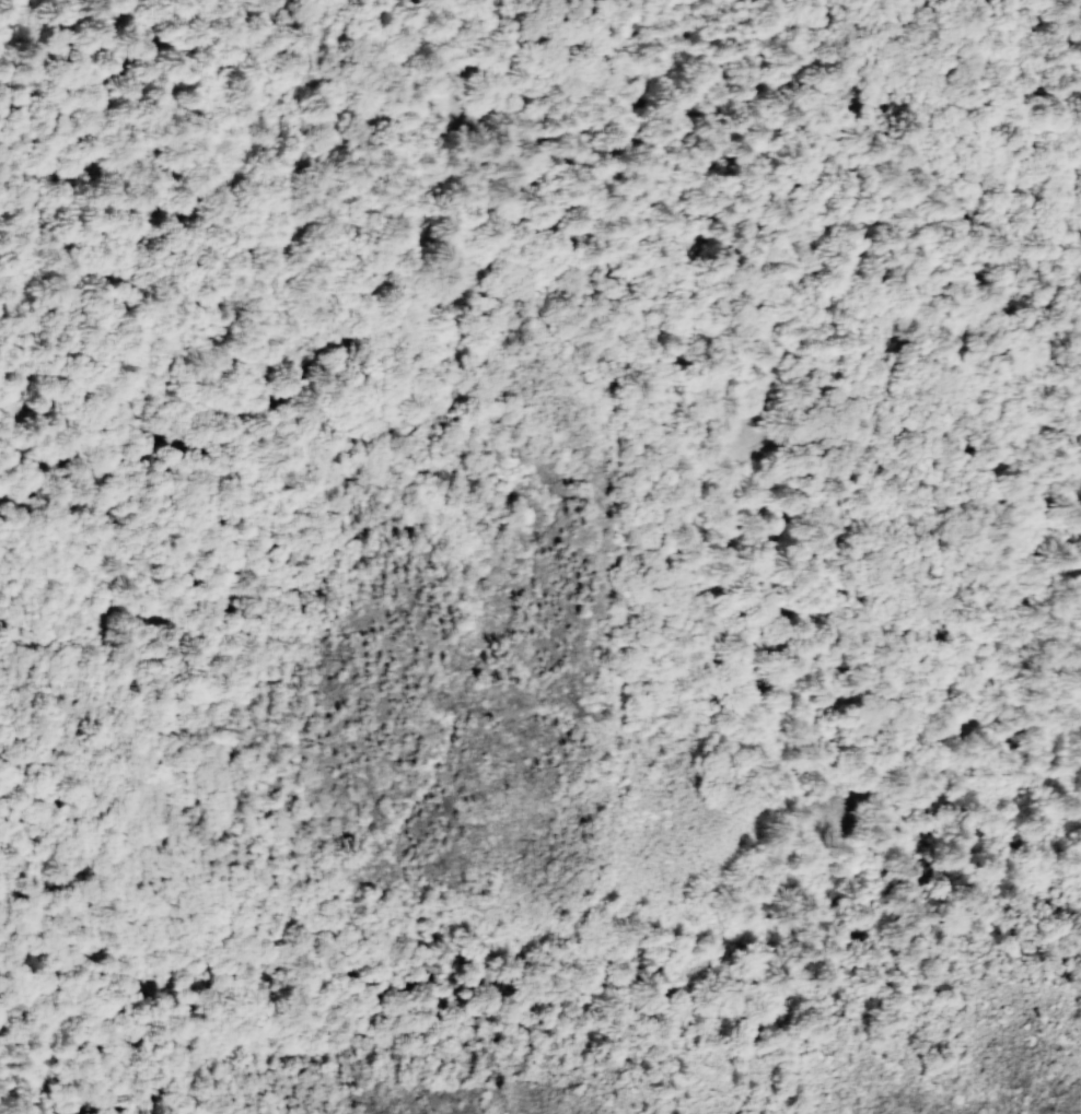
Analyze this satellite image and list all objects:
road: (229, 1060)

